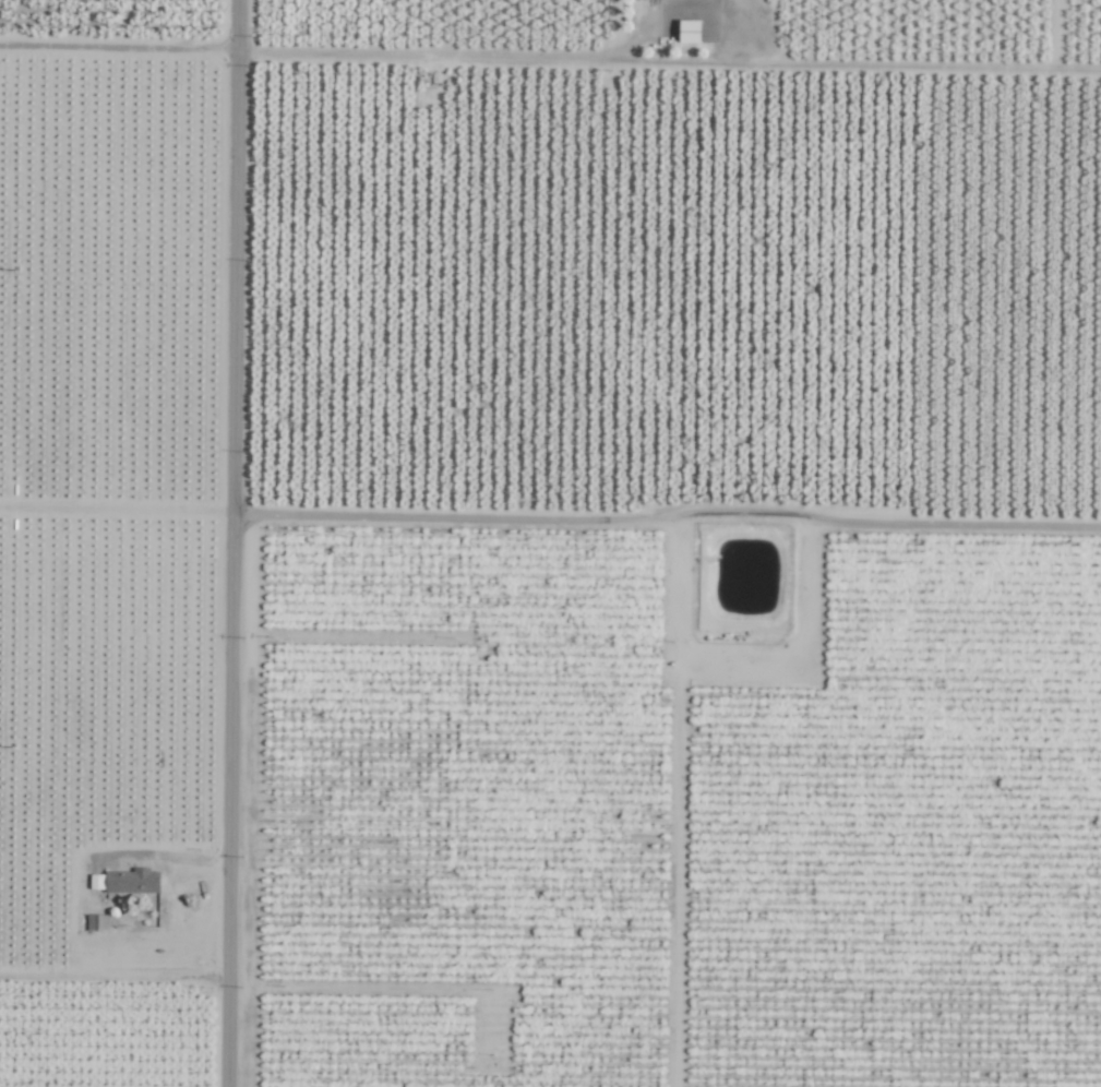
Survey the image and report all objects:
road: (684, 3)
building: (689, 31)
road: (119, 52)
road: (669, 59)
road: (444, 516)
road: (230, 542)
building: (96, 881)
building: (131, 881)
building: (96, 922)

